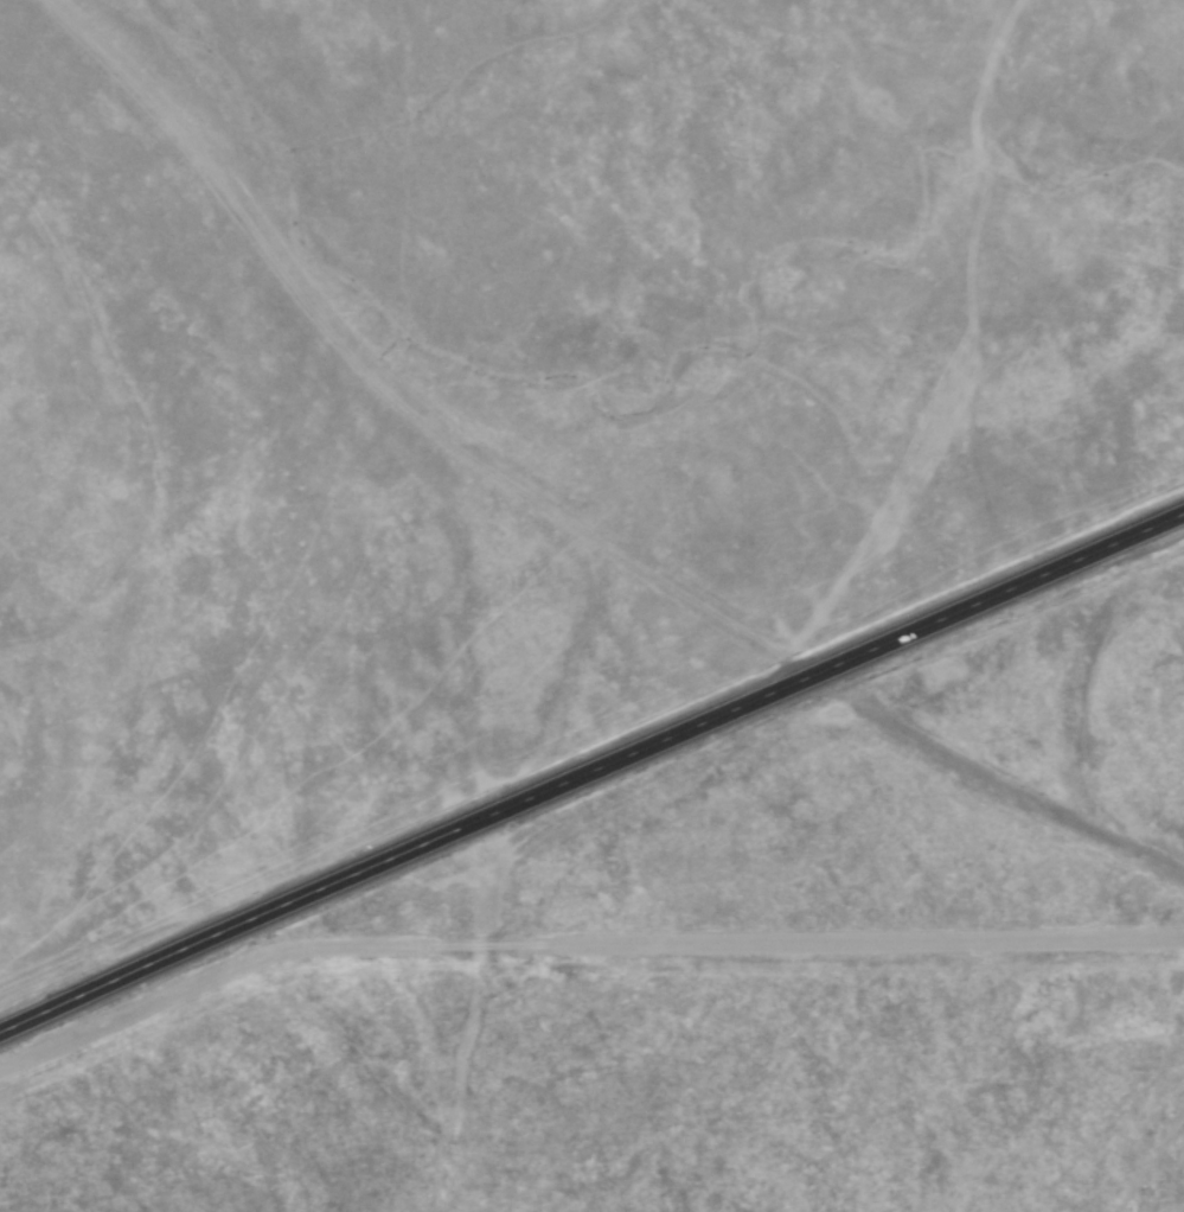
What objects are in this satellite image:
road: (920, 352)
road: (373, 372)
road: (591, 771)
airport: (610, 1074)

